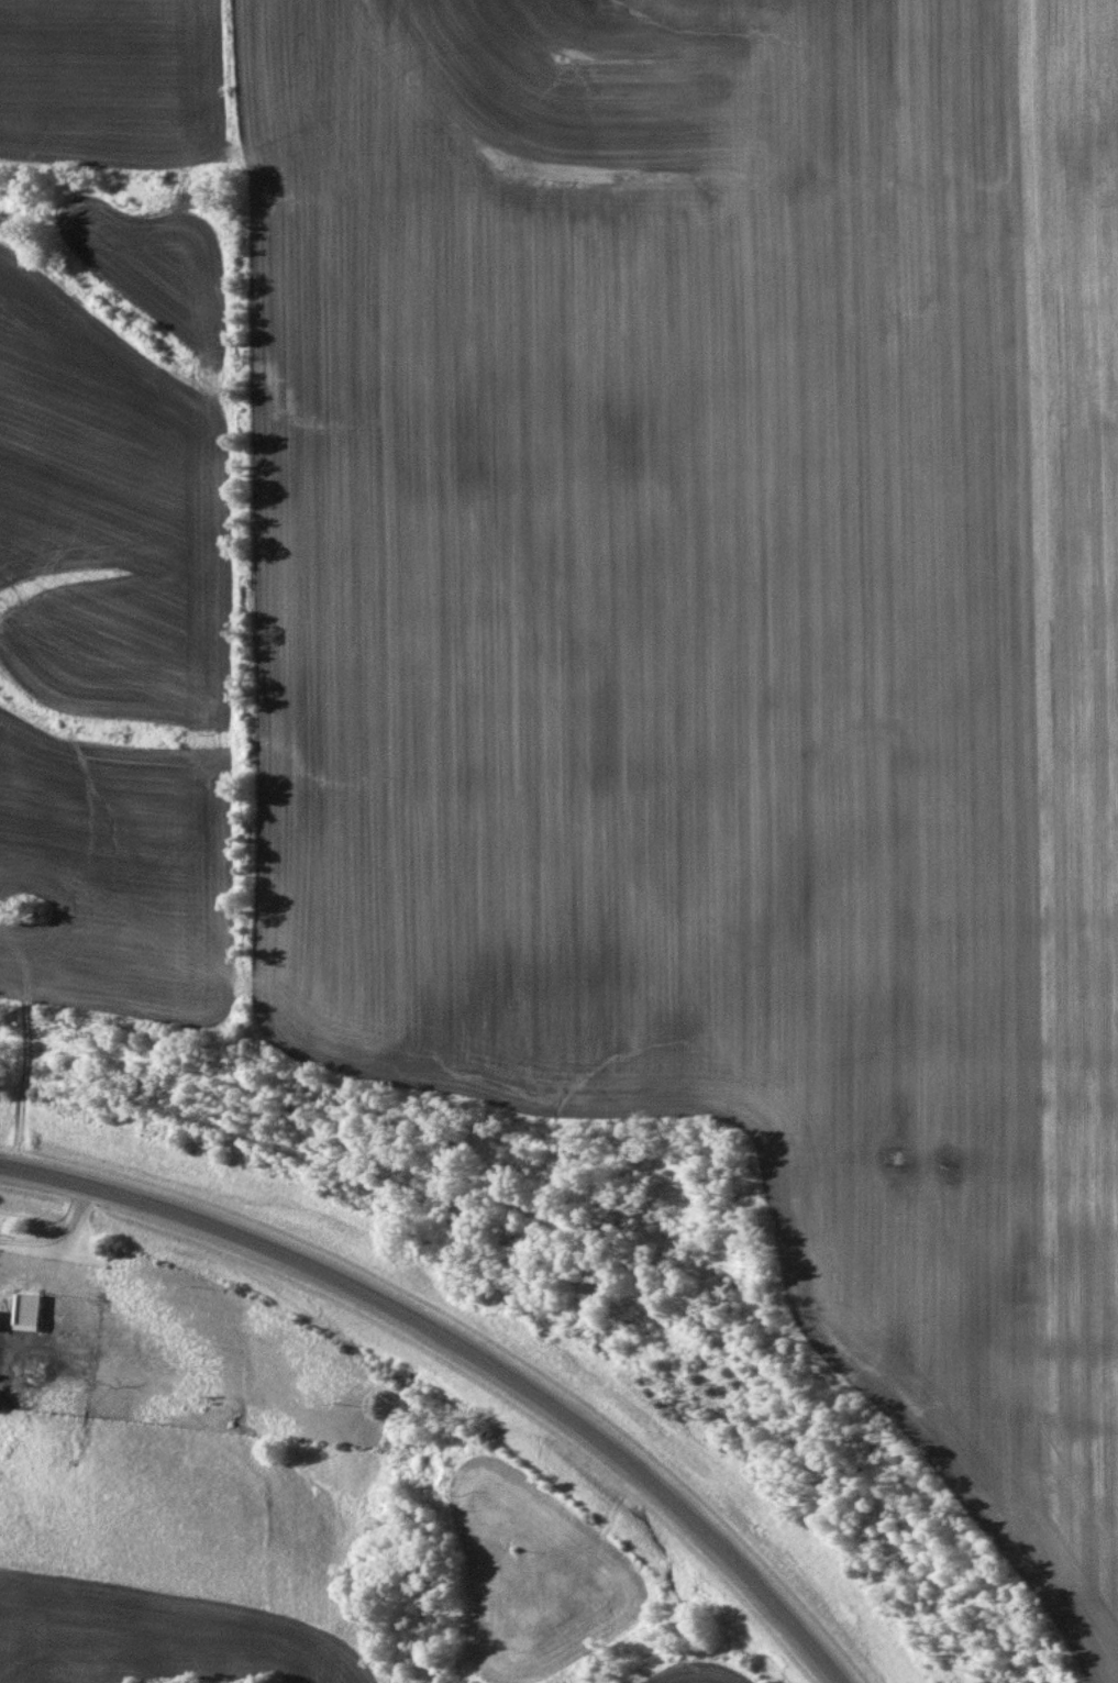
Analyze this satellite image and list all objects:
road: (57, 1234)
building: (31, 1311)
road: (467, 1348)

